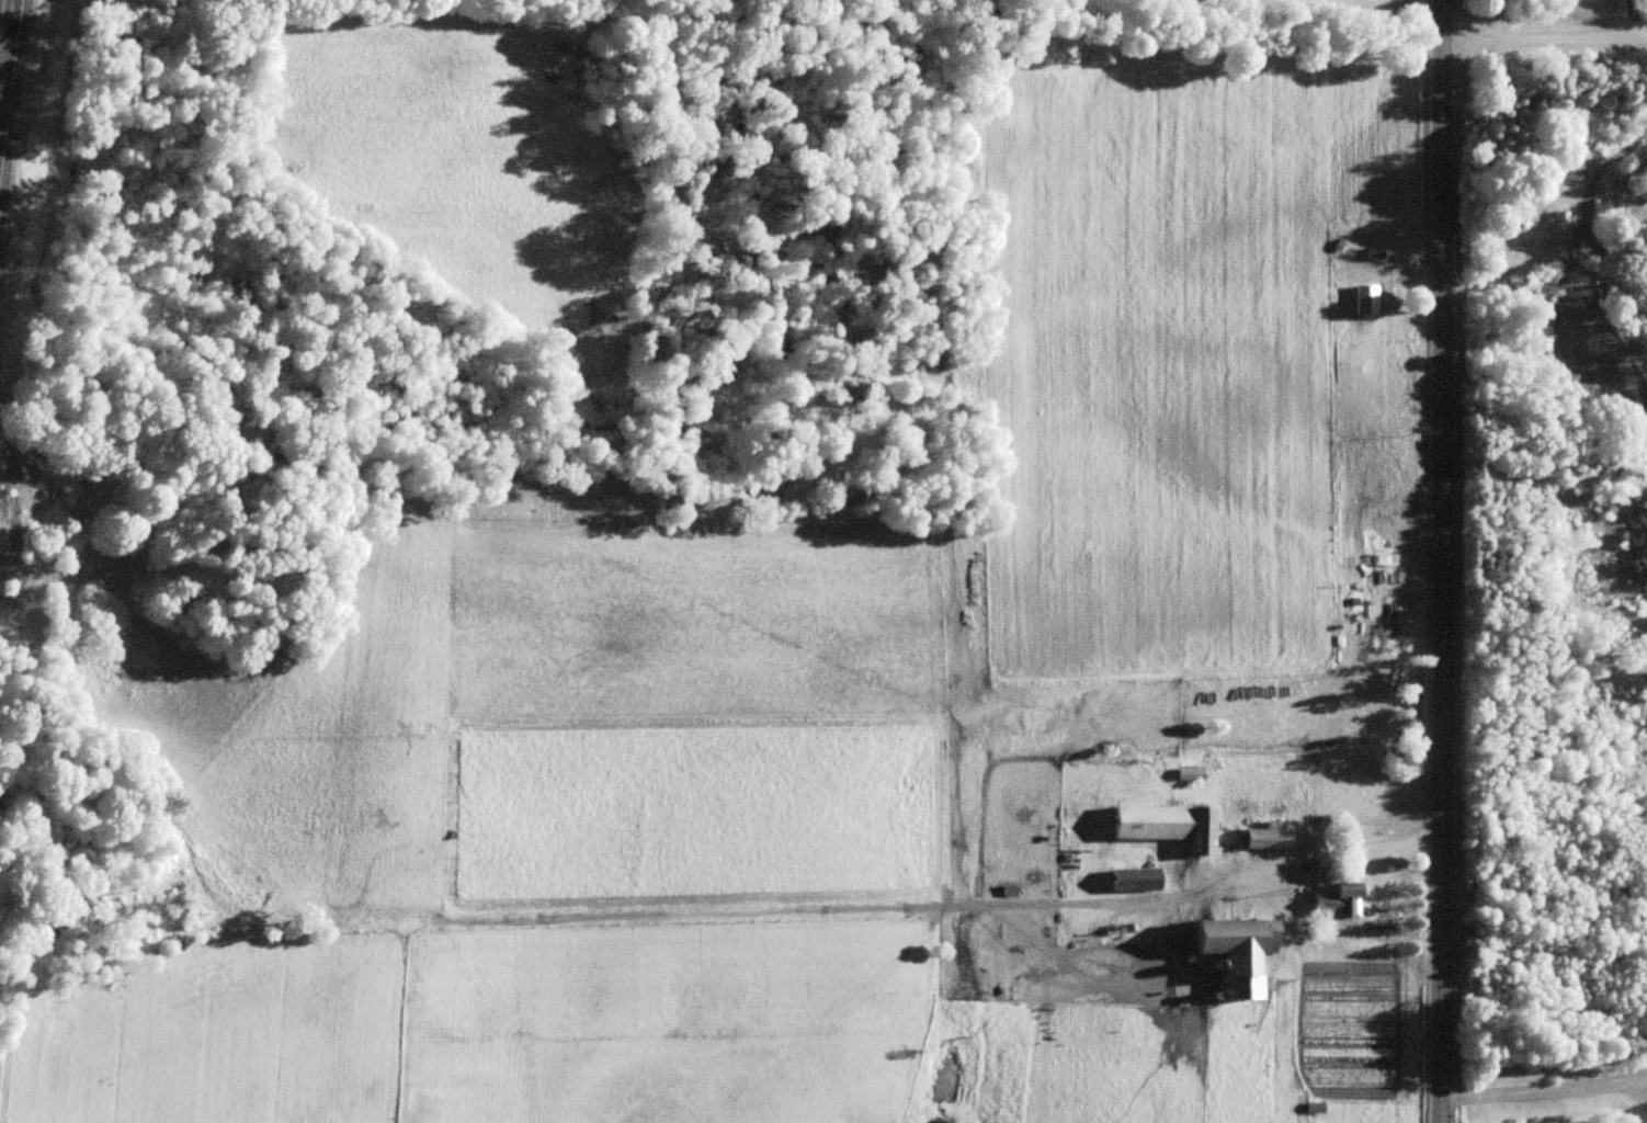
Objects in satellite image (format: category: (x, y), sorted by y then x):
road: (885, 23)
road: (5, 52)
building: (1567, 168)
building: (1561, 218)
building: (1374, 253)
road: (1504, 262)
building: (1365, 300)
road: (1431, 561)
building: (1203, 831)
building: (1270, 837)
building: (1134, 880)
building: (1339, 900)
building: (1246, 956)

